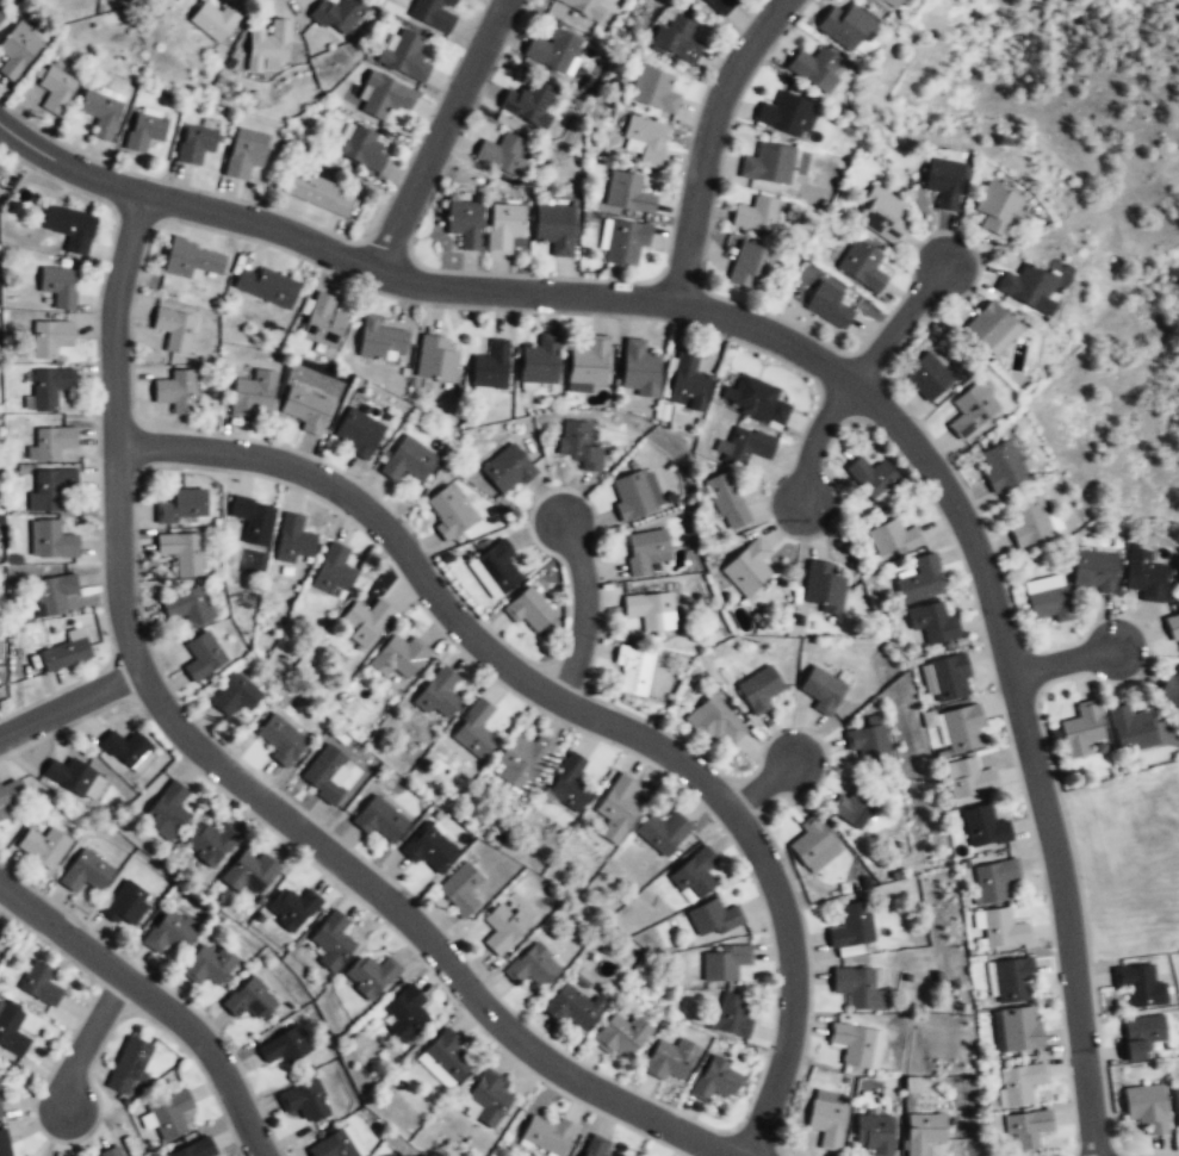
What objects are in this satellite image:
street lamp: (285, 0)
building: (892, 4)
building: (718, 5)
building: (581, 7)
building: (433, 12)
building: (340, 15)
building: (216, 19)
building: (0, 21)
building: (844, 27)
building: (675, 41)
building: (268, 48)
building: (552, 50)
building: (17, 51)
building: (404, 55)
building: (814, 68)
building: (55, 91)
building: (653, 92)
building: (384, 95)
building: (528, 104)
building: (100, 113)
building: (787, 114)
building: (144, 129)
street lamp: (685, 131)
road: (439, 135)
street lamp: (414, 138)
building: (644, 141)
road: (706, 141)
building: (194, 144)
building: (362, 149)
building: (244, 153)
building: (504, 155)
building: (769, 163)
road: (67, 164)
street lamp: (160, 176)
building: (942, 180)
building: (627, 194)
building: (319, 195)
building: (995, 209)
building: (755, 213)
building: (882, 216)
road: (261, 222)
building: (464, 222)
building: (503, 226)
building: (69, 229)
building: (553, 229)
building: (625, 244)
building: (192, 260)
street lamp: (306, 265)
building: (751, 265)
street lamp: (905, 265)
building: (862, 266)
building: (58, 287)
building: (266, 287)
building: (1026, 288)
road: (522, 293)
building: (830, 304)
street lamp: (619, 319)
building: (322, 323)
road: (899, 323)
building: (991, 329)
building: (173, 330)
road: (765, 332)
building: (49, 336)
building: (379, 342)
building: (434, 361)
building: (540, 362)
building: (588, 366)
building: (490, 369)
building: (639, 369)
building: (668, 377)
building: (926, 377)
building: (687, 381)
building: (49, 386)
building: (176, 392)
building: (253, 396)
building: (753, 400)
building: (305, 411)
building: (970, 412)
street lamp: (919, 419)
road: (114, 433)
building: (358, 434)
street lamp: (798, 435)
road: (813, 440)
building: (51, 441)
building: (579, 446)
building: (745, 446)
building: (408, 461)
building: (1004, 466)
building: (508, 472)
building: (874, 479)
building: (49, 487)
street lamp: (548, 487)
building: (634, 497)
building: (180, 504)
building: (727, 504)
road: (368, 512)
road: (958, 514)
building: (448, 515)
building: (252, 518)
building: (1030, 523)
building: (292, 537)
building: (54, 540)
building: (892, 540)
building: (181, 551)
building: (645, 552)
building: (497, 567)
building: (333, 568)
building: (746, 568)
building: (1094, 571)
building: (1144, 576)
building: (919, 582)
street lamp: (967, 585)
building: (821, 588)
building: (52, 592)
building: (1047, 599)
building: (185, 605)
building: (529, 610)
road: (583, 611)
building: (647, 611)
building: (366, 619)
building: (932, 624)
building: (1173, 628)
street lamp: (600, 640)
building: (63, 654)
building: (399, 654)
building: (201, 655)
road: (1062, 661)
building: (633, 670)
building: (949, 679)
street lamp: (1131, 682)
building: (820, 689)
building: (438, 691)
building: (759, 691)
building: (1169, 694)
building: (235, 695)
road: (69, 706)
building: (718, 722)
building: (474, 727)
street lamp: (815, 729)
building: (961, 729)
building: (1131, 729)
building: (1080, 731)
street lamp: (1003, 737)
building: (280, 738)
building: (868, 742)
building: (125, 748)
street lamp: (621, 752)
building: (523, 759)
building: (324, 772)
building: (74, 778)
building: (967, 779)
building: (570, 782)
road: (763, 785)
street lamp: (283, 789)
building: (8, 796)
building: (619, 801)
building: (856, 806)
building: (167, 810)
building: (379, 818)
building: (982, 828)
building: (663, 831)
building: (211, 844)
building: (814, 844)
building: (428, 846)
building: (43, 847)
building: (248, 871)
building: (695, 871)
building: (86, 872)
road: (770, 880)
building: (992, 881)
building: (460, 888)
building: (124, 902)
building: (292, 906)
road: (1065, 913)
building: (713, 916)
building: (503, 927)
building: (852, 927)
building: (1001, 930)
road: (62, 931)
building: (168, 931)
road: (423, 934)
building: (0, 939)
building: (331, 939)
street lamp: (1047, 943)
street lamp: (417, 961)
building: (725, 962)
building: (207, 964)
building: (532, 965)
building: (371, 974)
building: (1012, 982)
building: (39, 983)
building: (1140, 987)
building: (858, 990)
building: (248, 999)
building: (572, 1006)
building: (405, 1012)
building: (730, 1015)
building: (12, 1031)
building: (1014, 1032)
building: (621, 1033)
building: (1140, 1037)
road: (85, 1038)
building: (285, 1045)
building: (852, 1045)
road: (210, 1052)
building: (447, 1054)
building: (670, 1057)
building: (129, 1065)
building: (715, 1080)
street lamp: (629, 1084)
building: (1018, 1086)
building: (489, 1096)
building: (304, 1100)
building: (1175, 1104)
building: (1146, 1108)
building: (0, 1110)
building: (169, 1115)
building: (826, 1120)
building: (1025, 1131)
building: (923, 1133)
building: (548, 1136)
building: (874, 1136)
street lamp: (1072, 1142)
building: (4, 1144)
building: (333, 1145)
building: (595, 1146)
building: (198, 1149)
building: (112, 1152)

